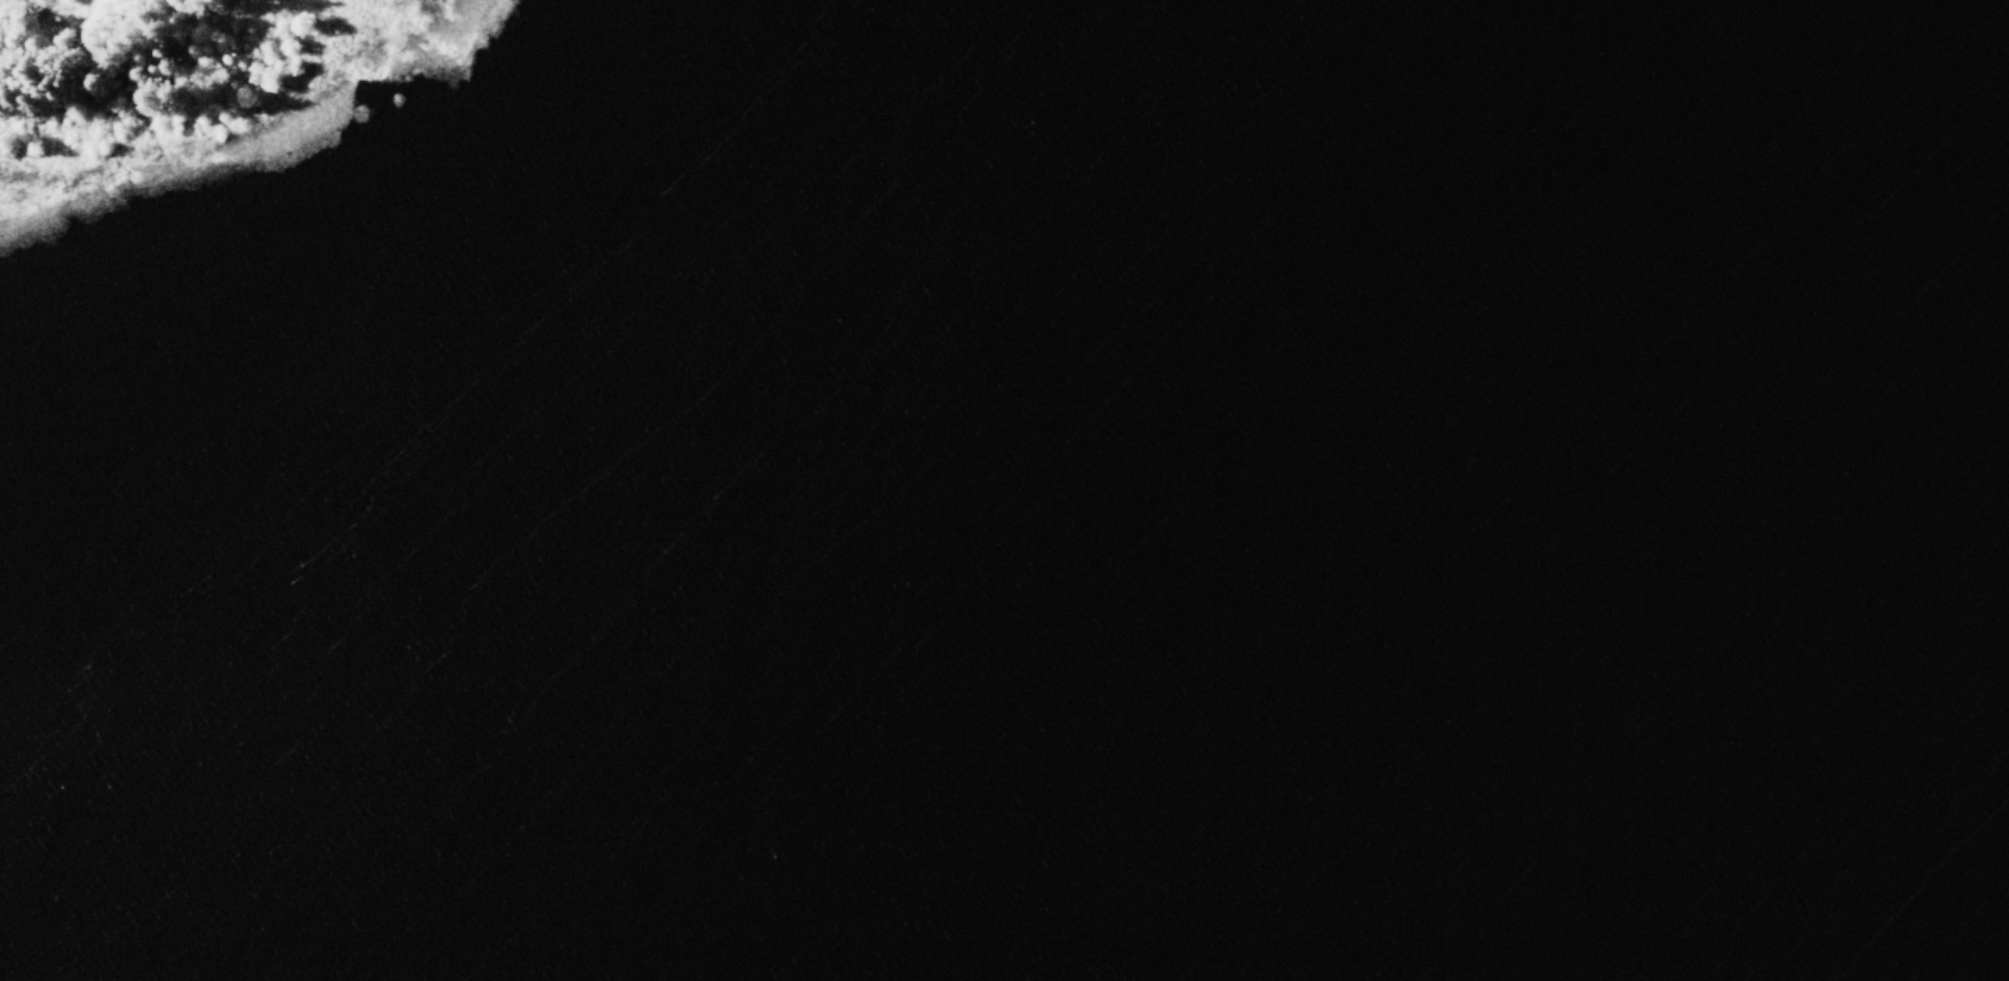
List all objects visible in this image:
road: (104, 50)
road: (144, 99)
river: (1845, 723)

